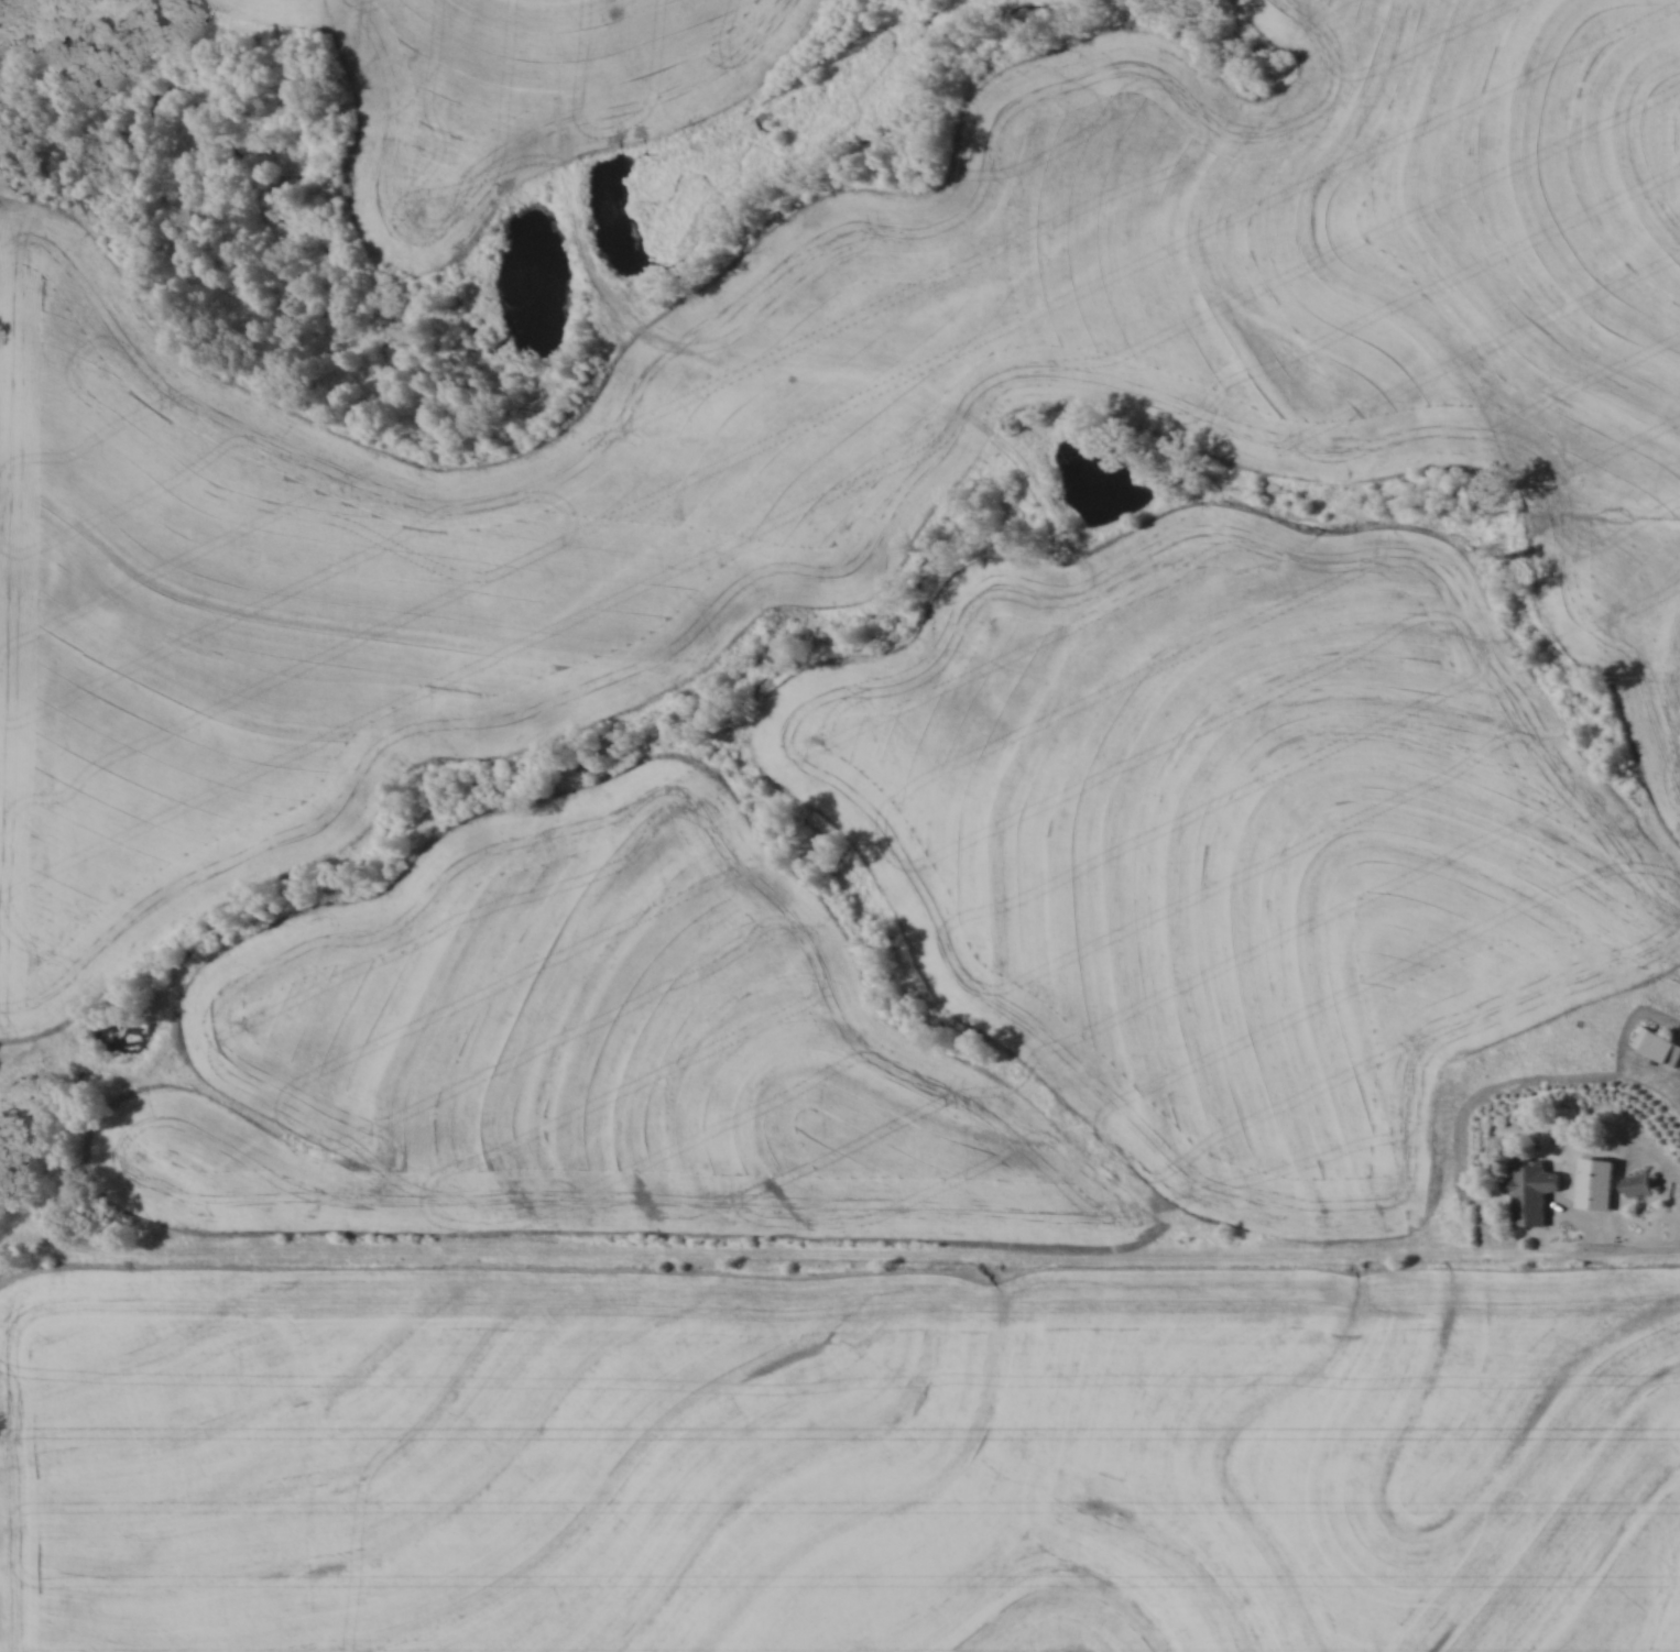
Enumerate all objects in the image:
road: (1678, 1086)
road: (1644, 1145)
building: (1639, 1185)
building: (1532, 1189)
road: (890, 1255)

